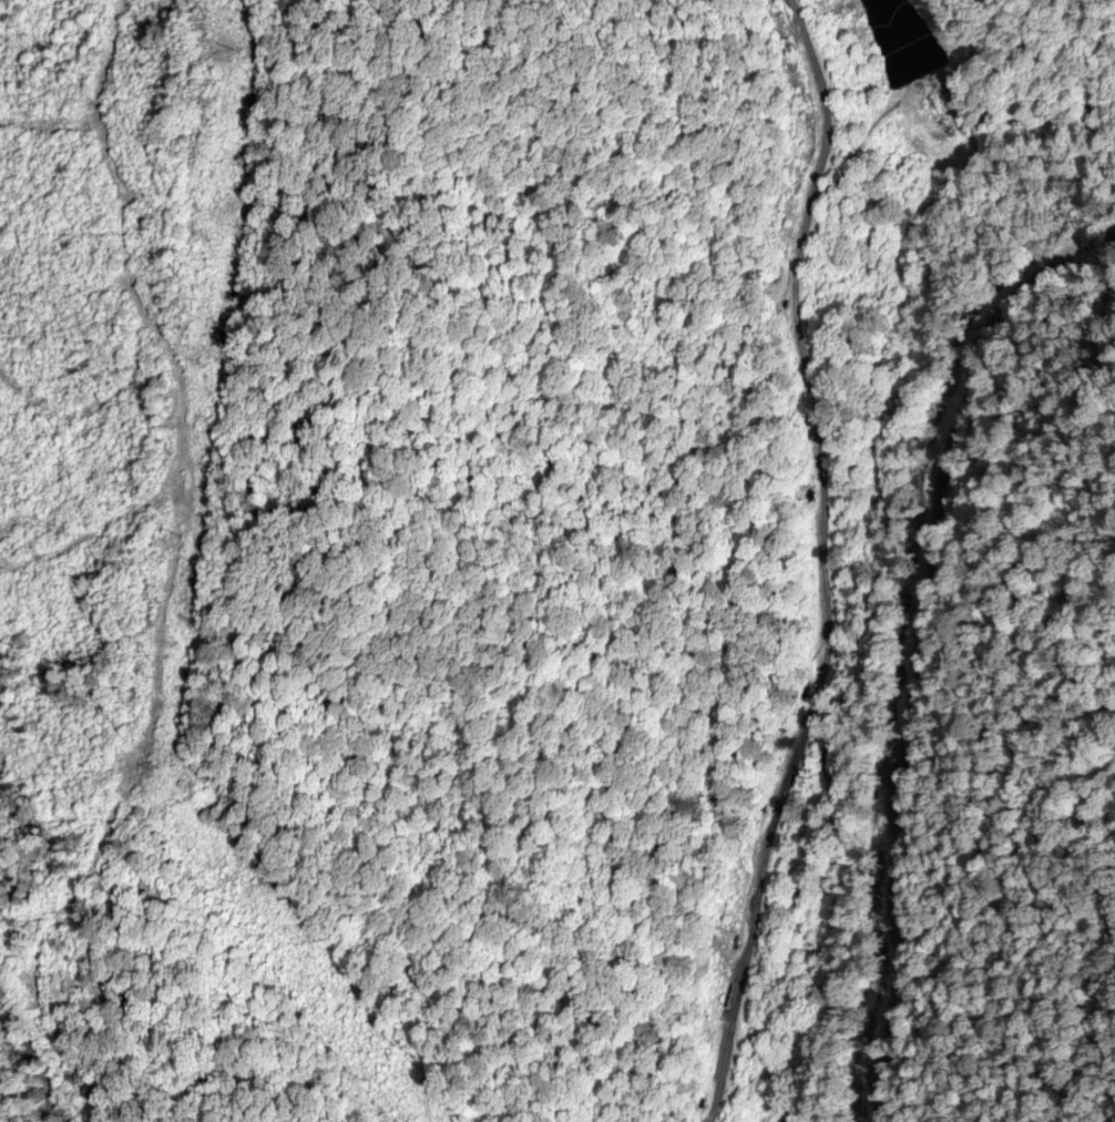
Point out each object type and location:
road: (822, 560)
road: (909, 629)

